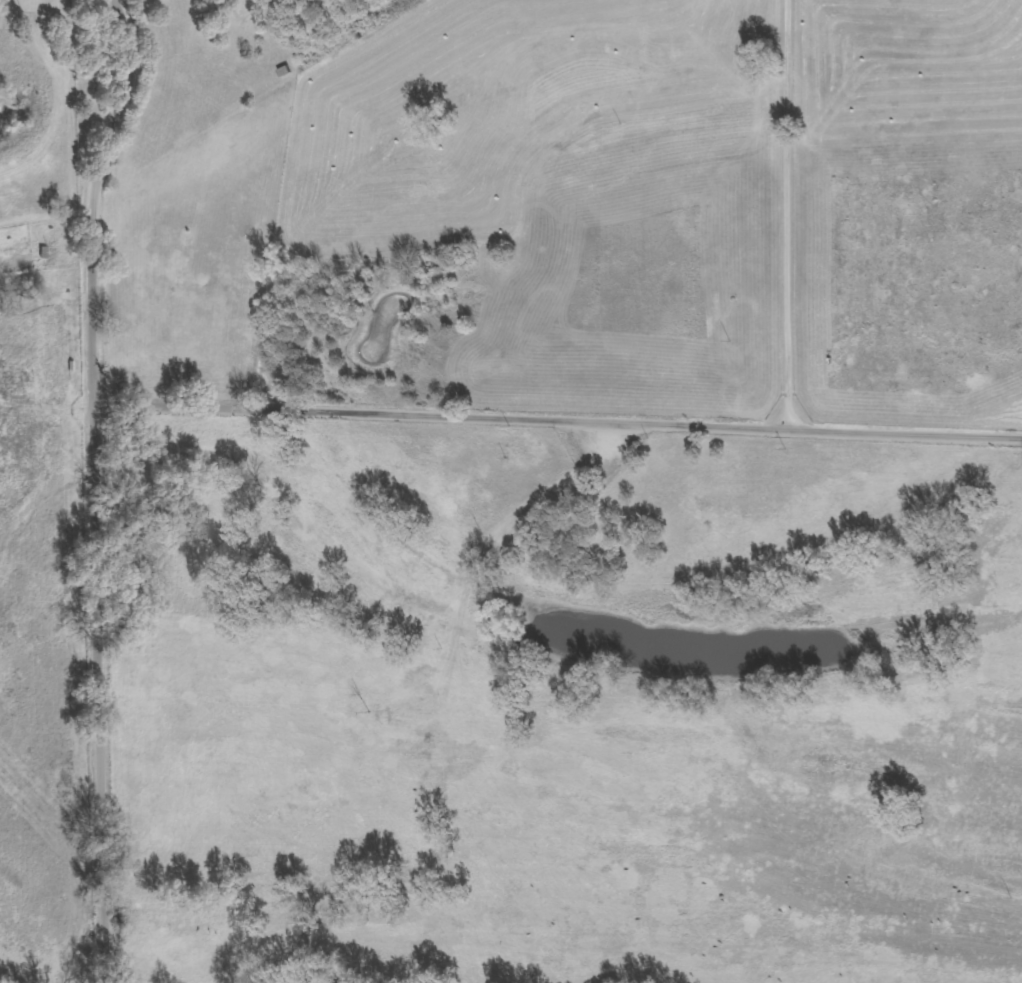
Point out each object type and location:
road: (793, 227)
road: (554, 449)
road: (79, 488)

